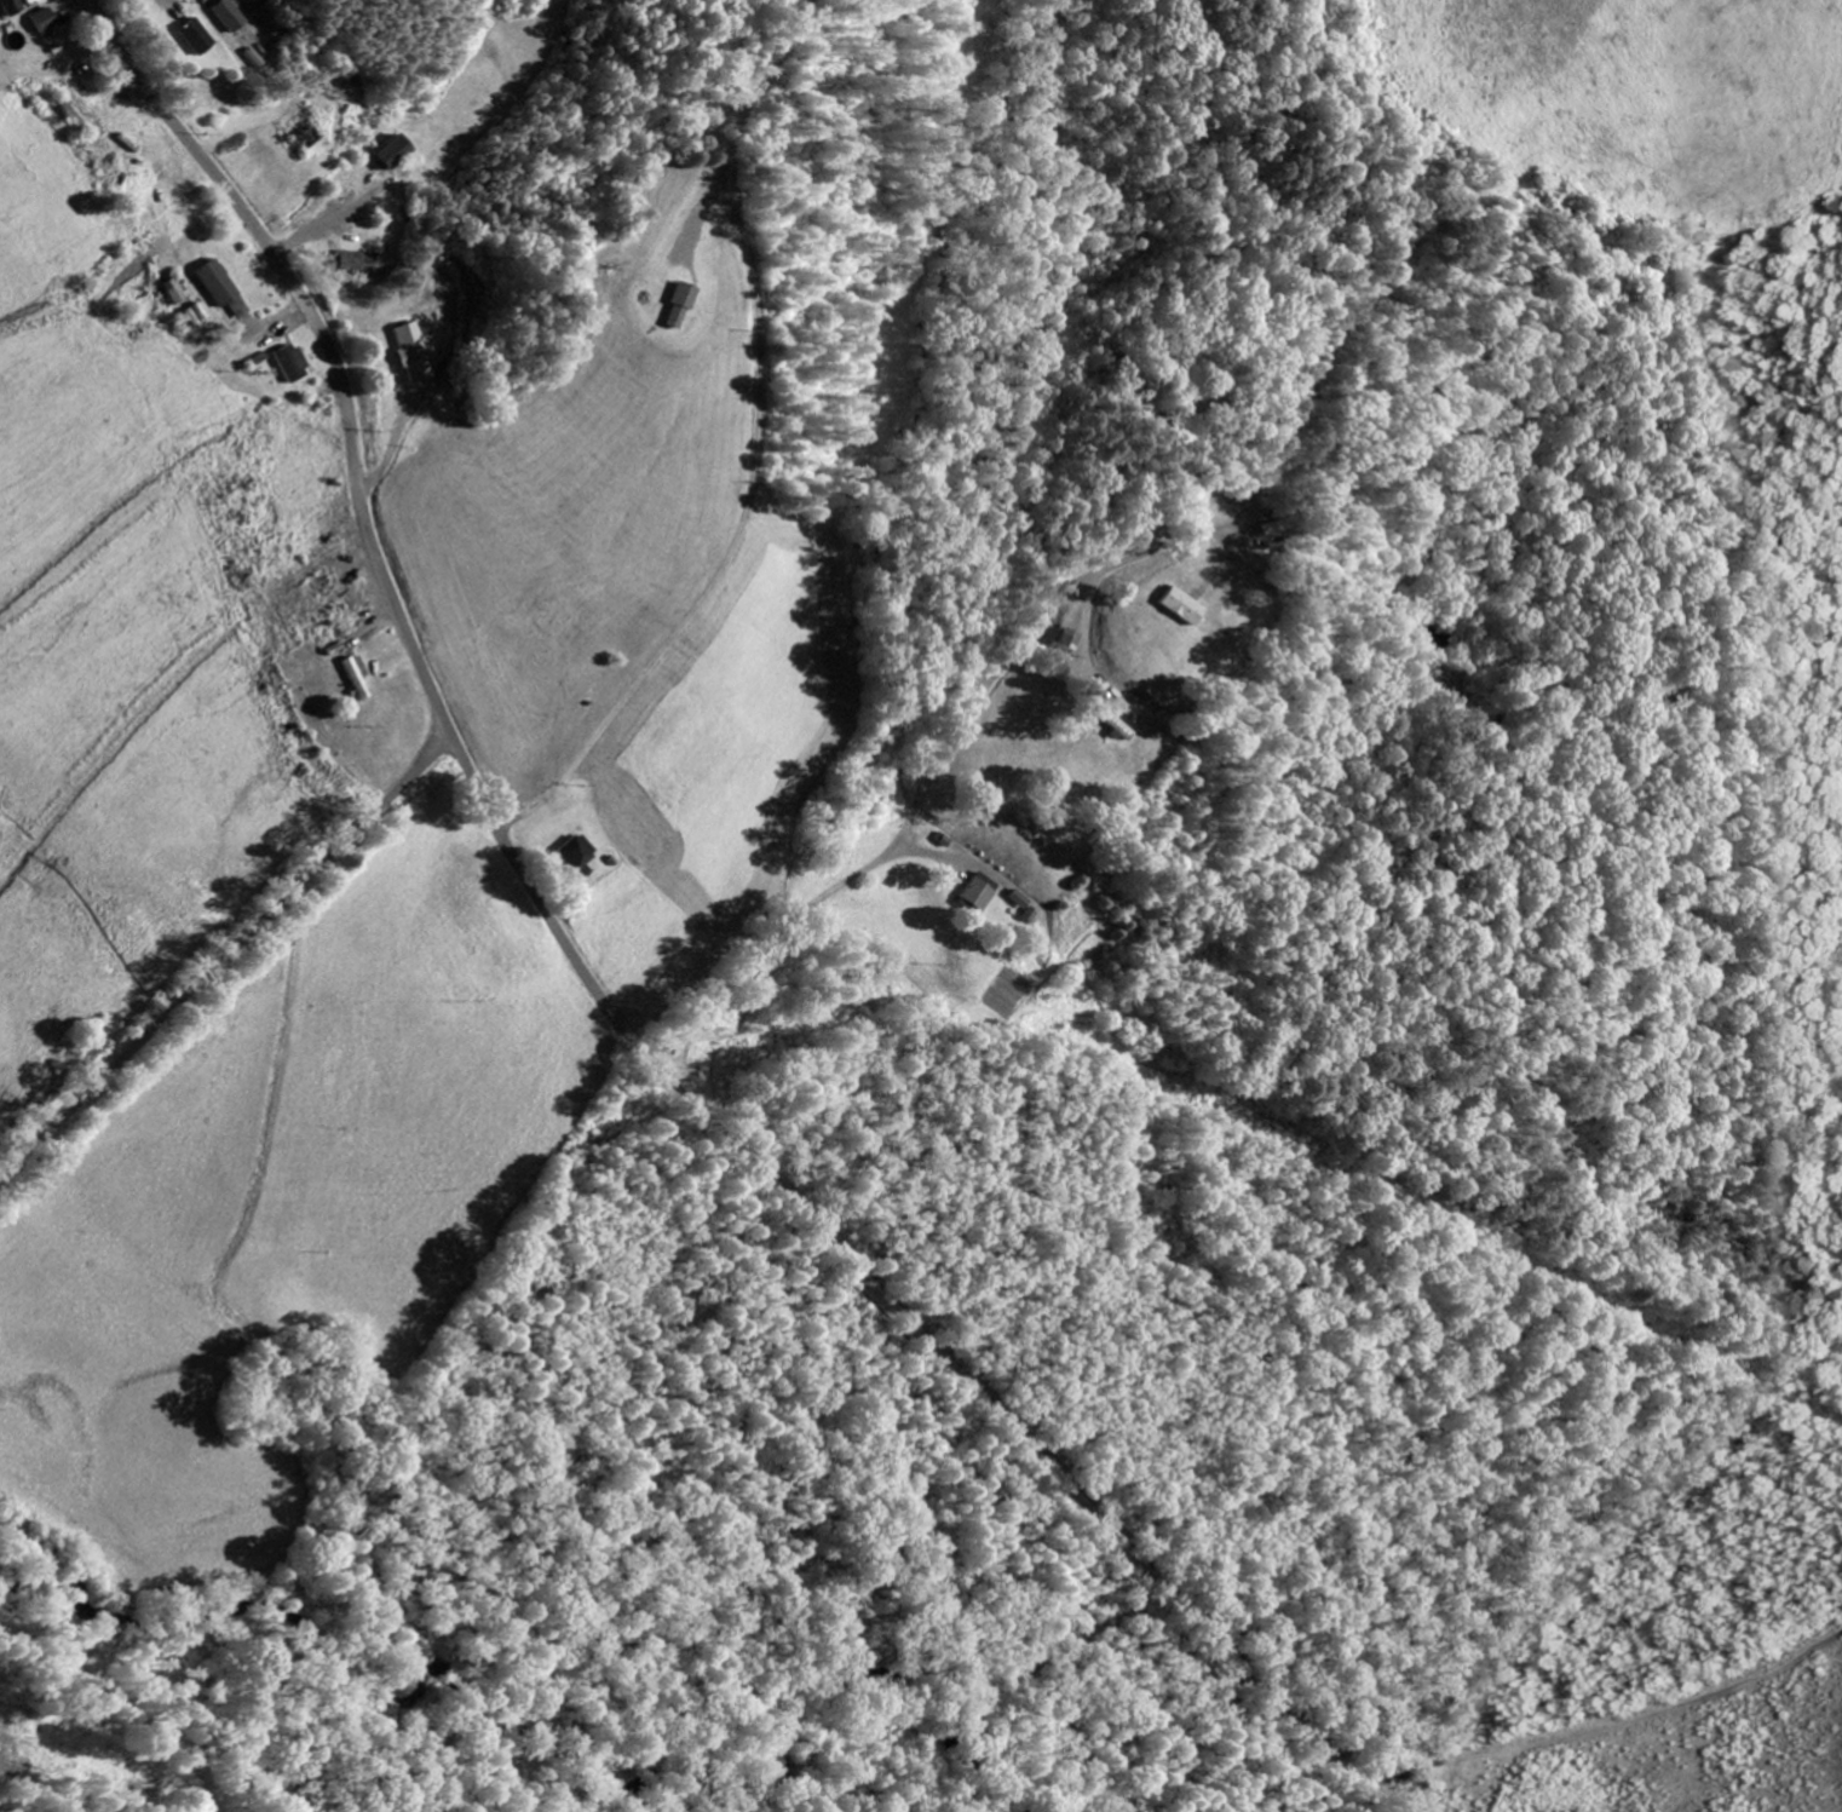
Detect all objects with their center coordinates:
building: (13, 6)
building: (235, 15)
building: (46, 19)
building: (198, 35)
building: (397, 151)
building: (357, 263)
building: (218, 282)
building: (175, 291)
building: (679, 305)
building: (197, 313)
building: (415, 351)
building: (294, 362)
building: (1184, 605)
road: (1151, 609)
building: (1071, 639)
building: (574, 853)
building: (979, 891)
building: (1019, 898)
road: (226, 955)
road: (605, 1002)

